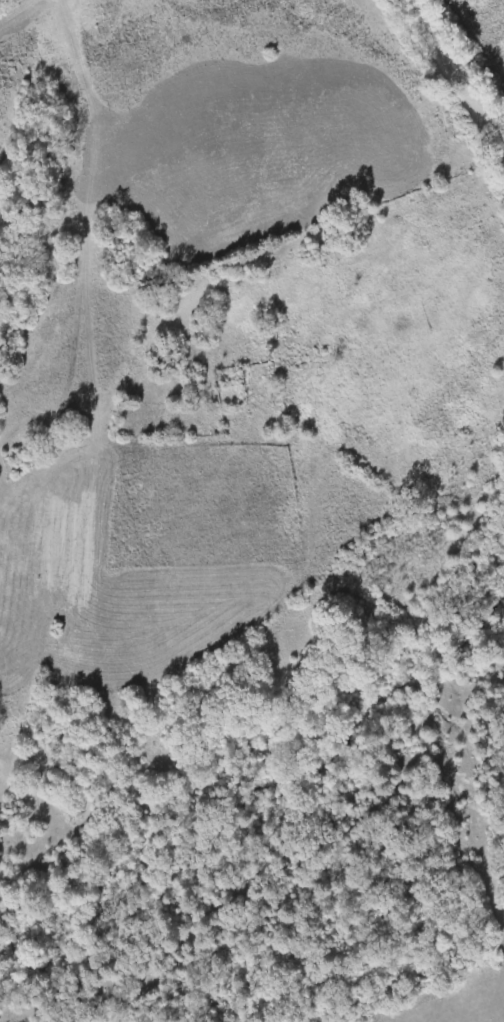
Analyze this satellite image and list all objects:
road: (454, 71)

